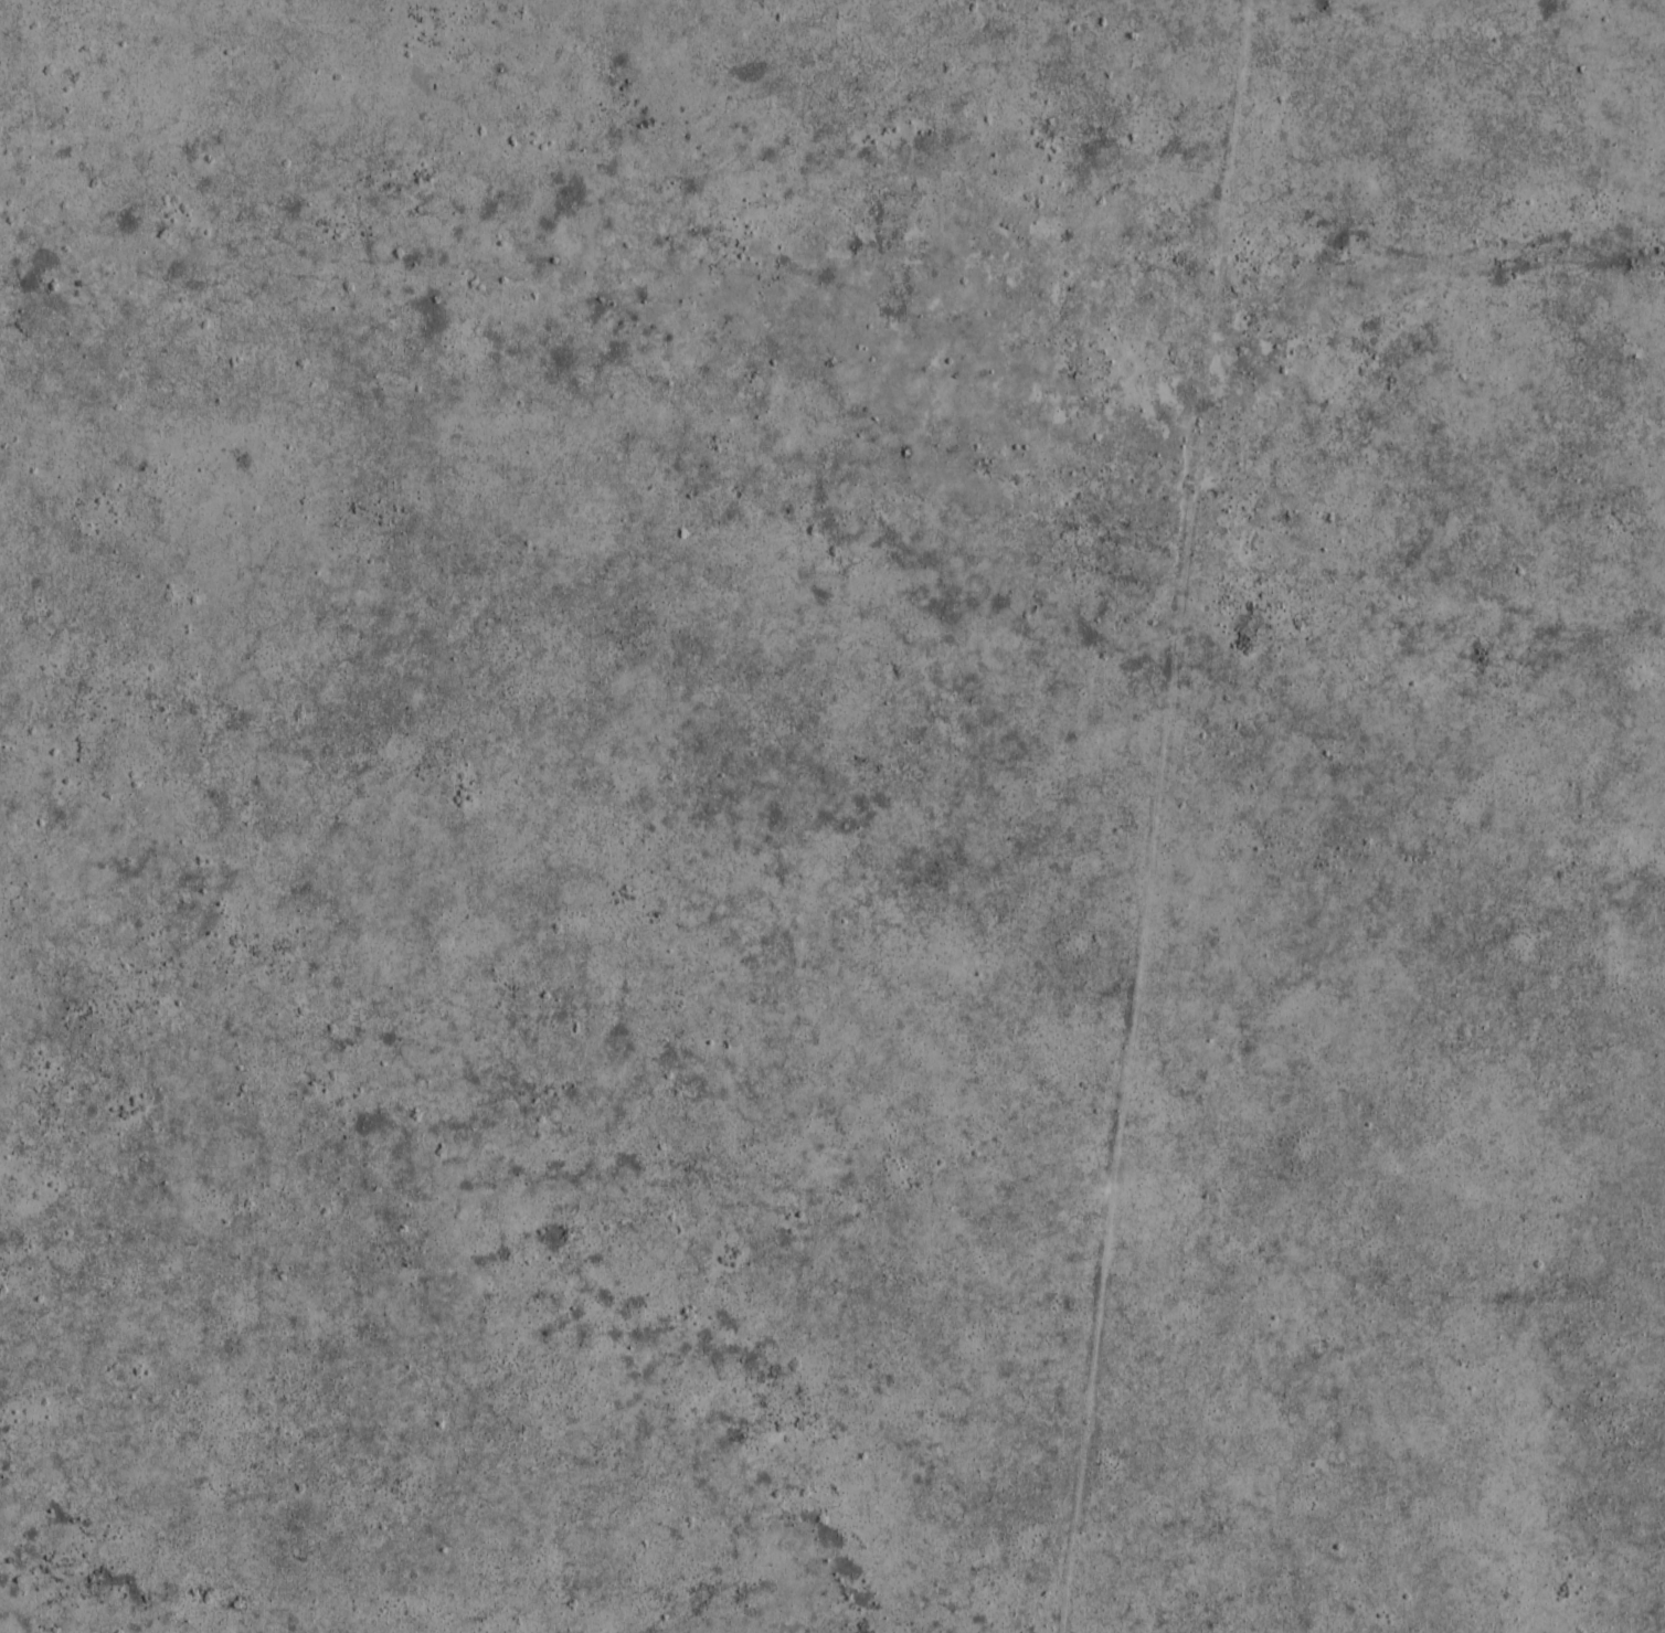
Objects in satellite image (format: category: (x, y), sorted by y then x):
road: (1155, 816)

